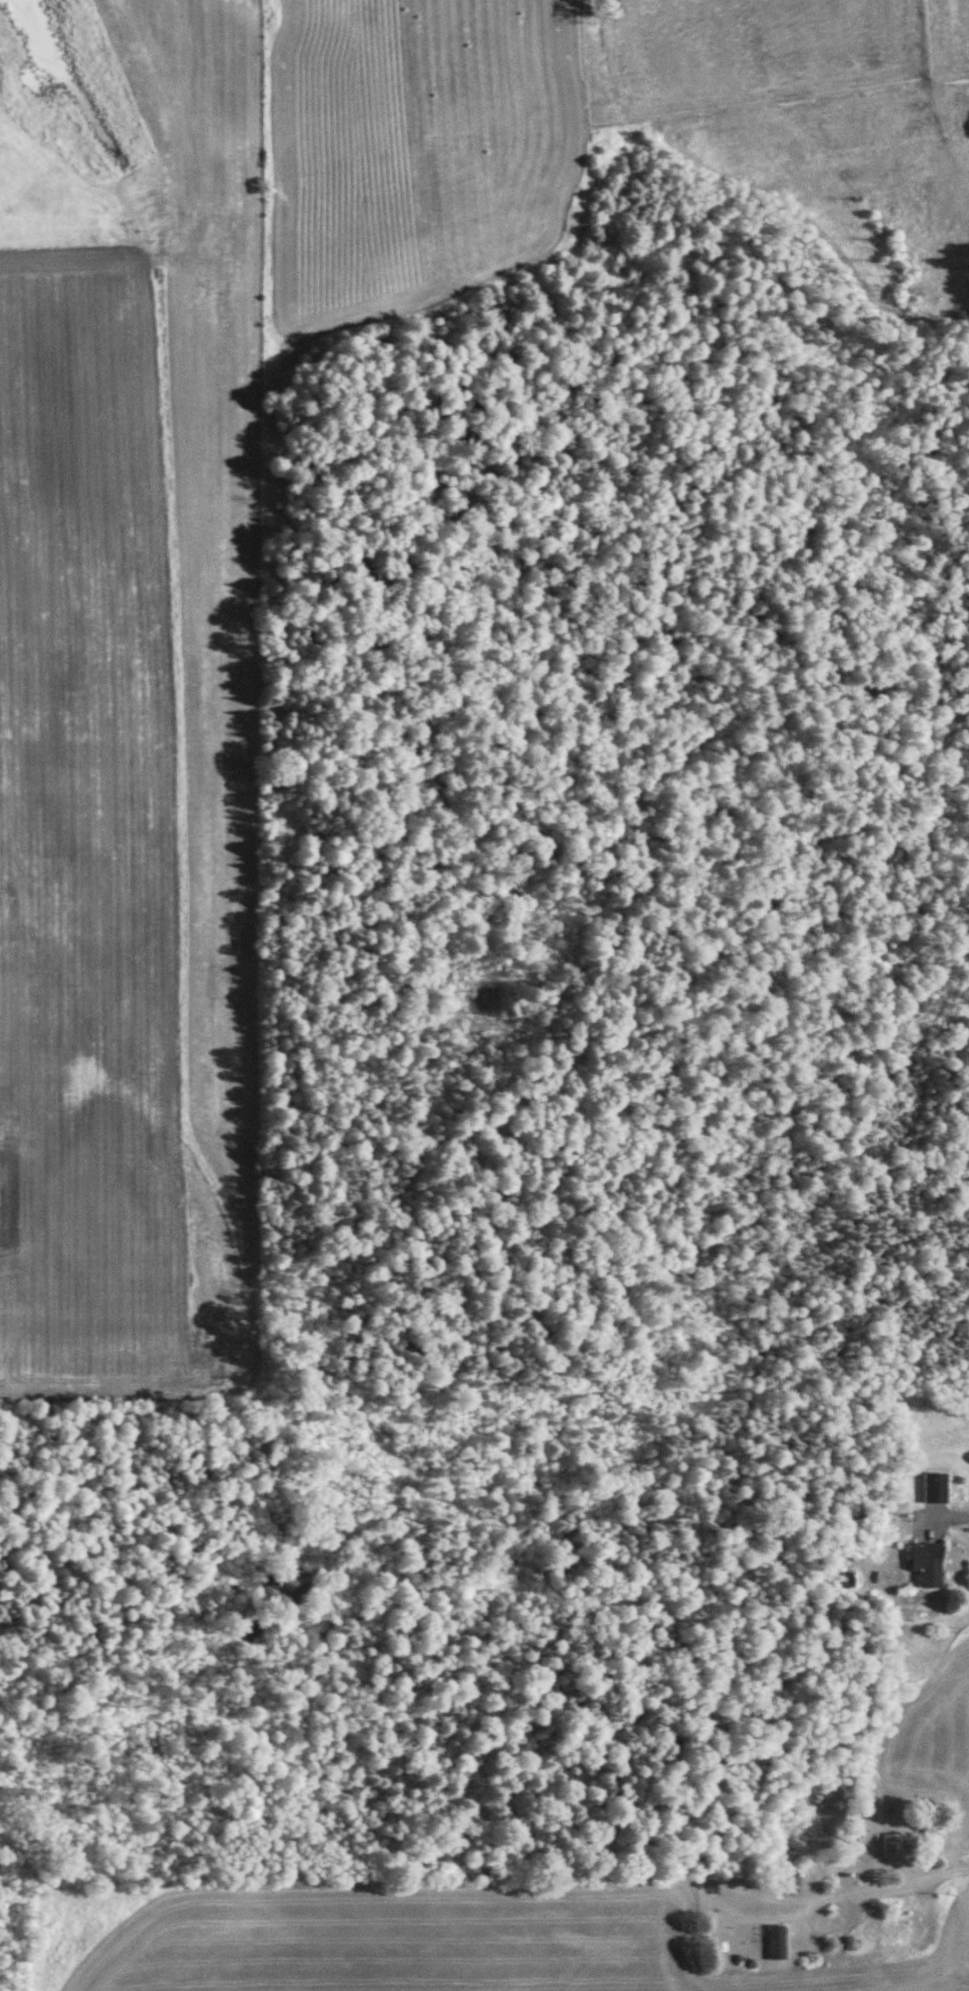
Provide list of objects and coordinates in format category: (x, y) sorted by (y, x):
road: (896, 1446)
building: (938, 1488)
building: (928, 1563)
building: (847, 1580)
road: (689, 1636)
building: (895, 1847)
building: (778, 1942)

